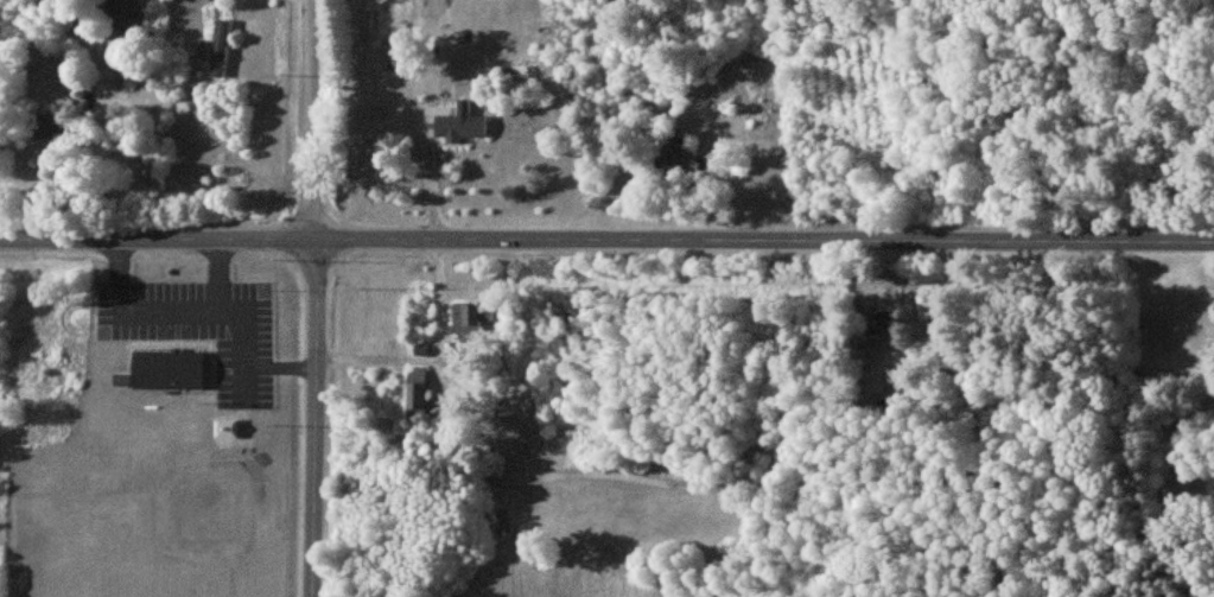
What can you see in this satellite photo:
building: (121, 14)
building: (218, 49)
building: (519, 74)
road: (415, 110)
building: (456, 121)
building: (47, 126)
building: (669, 150)
road: (606, 231)
road: (312, 298)
building: (472, 318)
building: (878, 320)
road: (434, 347)
building: (167, 369)
building: (227, 427)

